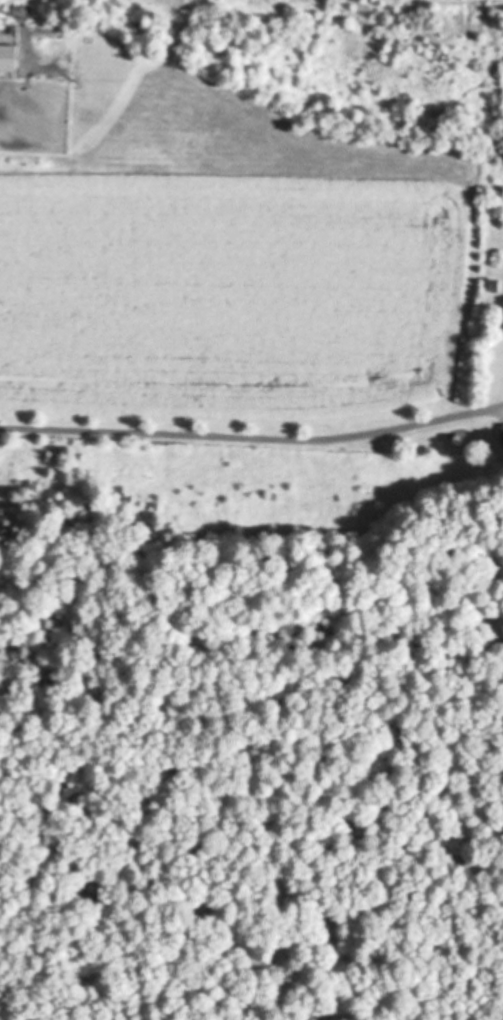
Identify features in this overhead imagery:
building: (7, 59)
building: (502, 437)

